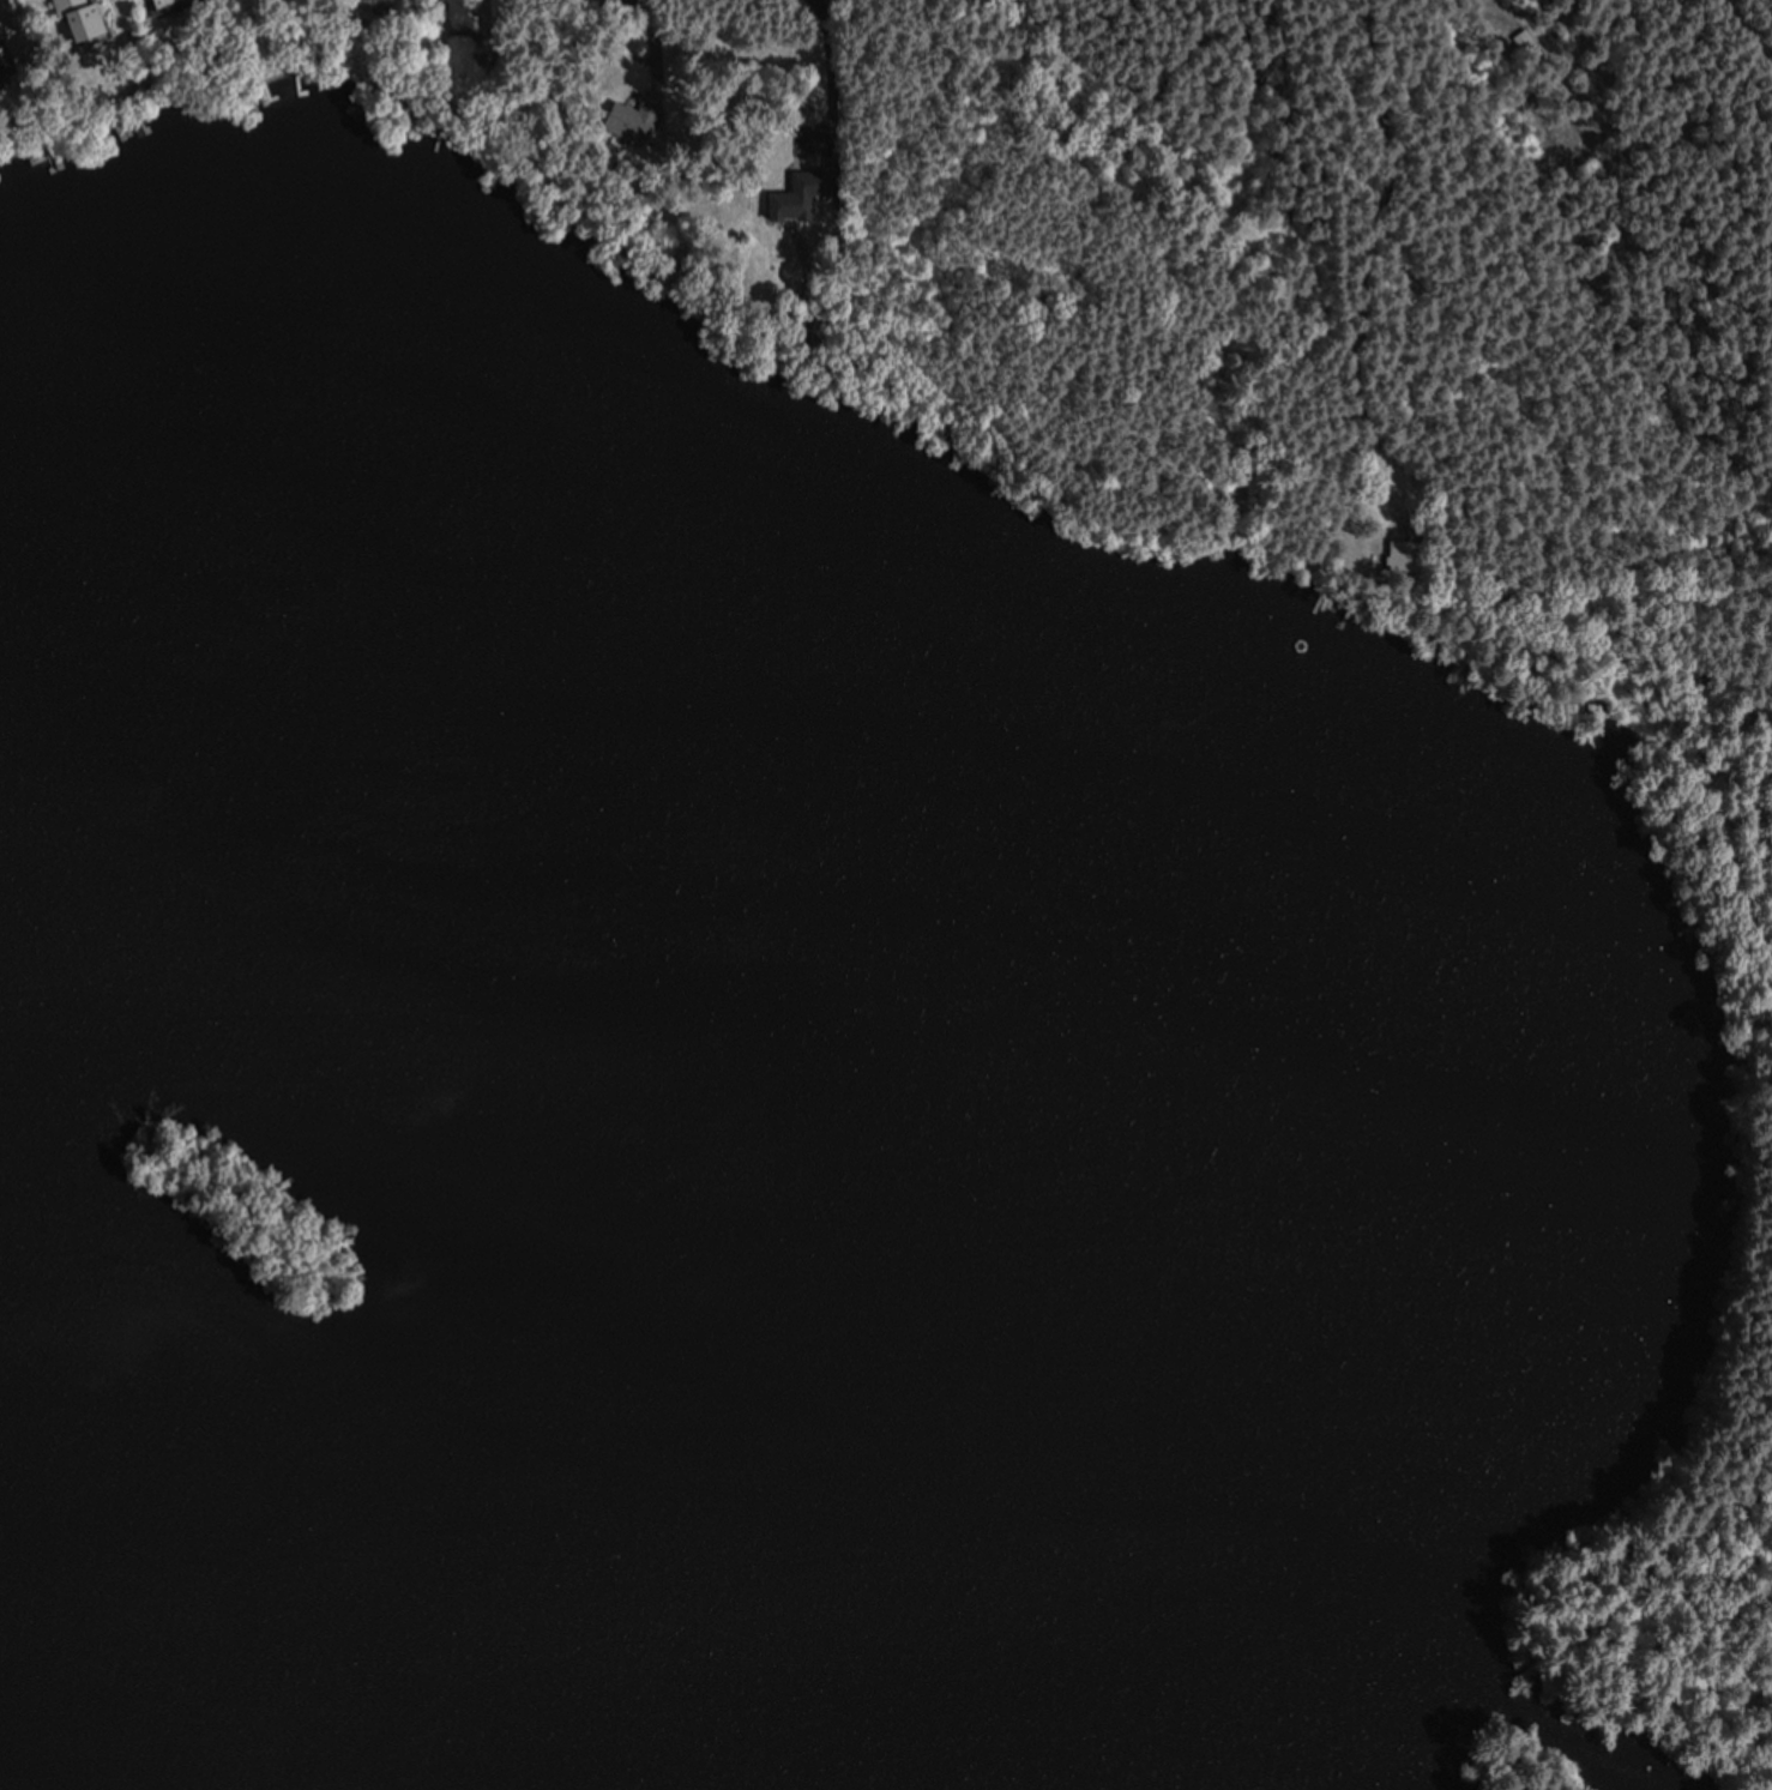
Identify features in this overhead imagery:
building: (149, 1)
building: (372, 1)
building: (72, 17)
building: (623, 120)
building: (797, 193)
road: (1384, 429)
building: (1400, 555)

